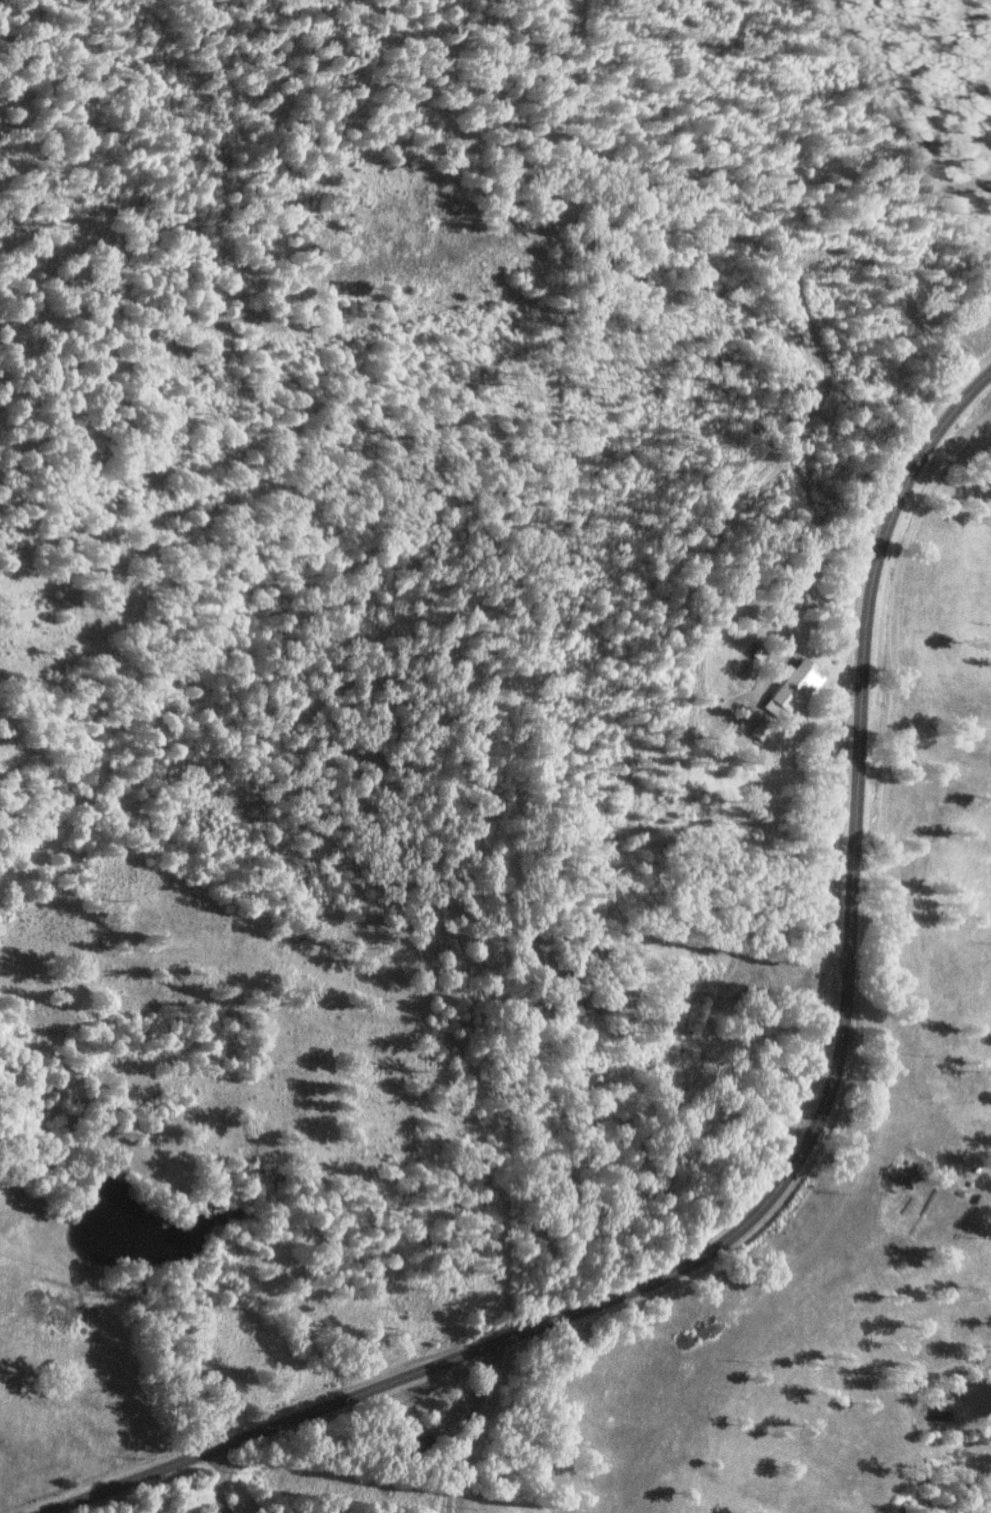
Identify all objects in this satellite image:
road: (546, 462)
building: (760, 651)
building: (796, 686)
building: (529, 947)
building: (571, 1008)
road: (787, 1166)
road: (776, 1280)

